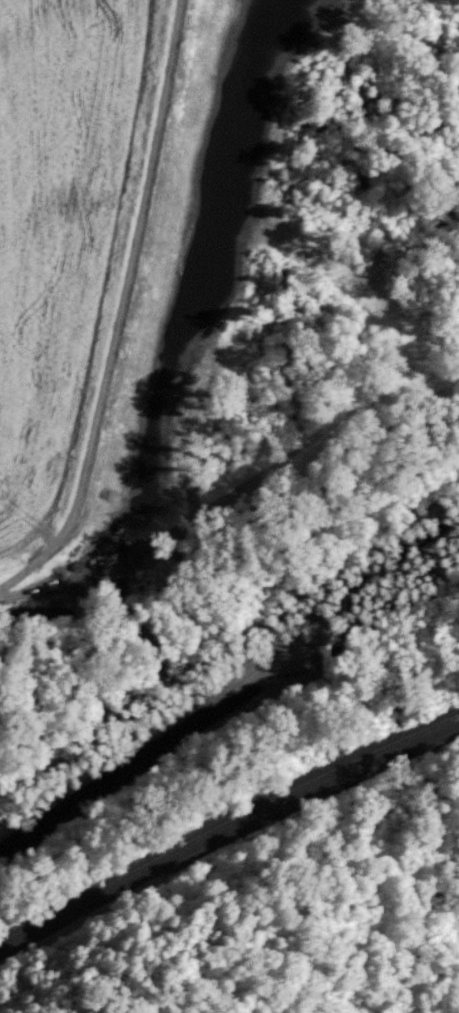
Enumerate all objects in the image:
railway: (226, 819)
railway: (226, 833)

